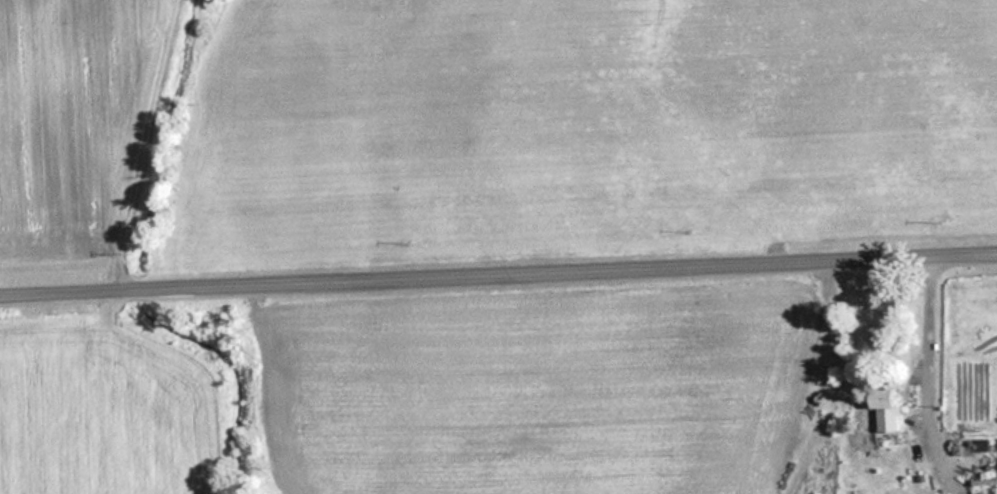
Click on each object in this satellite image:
road: (498, 268)
road: (927, 376)
building: (886, 411)

